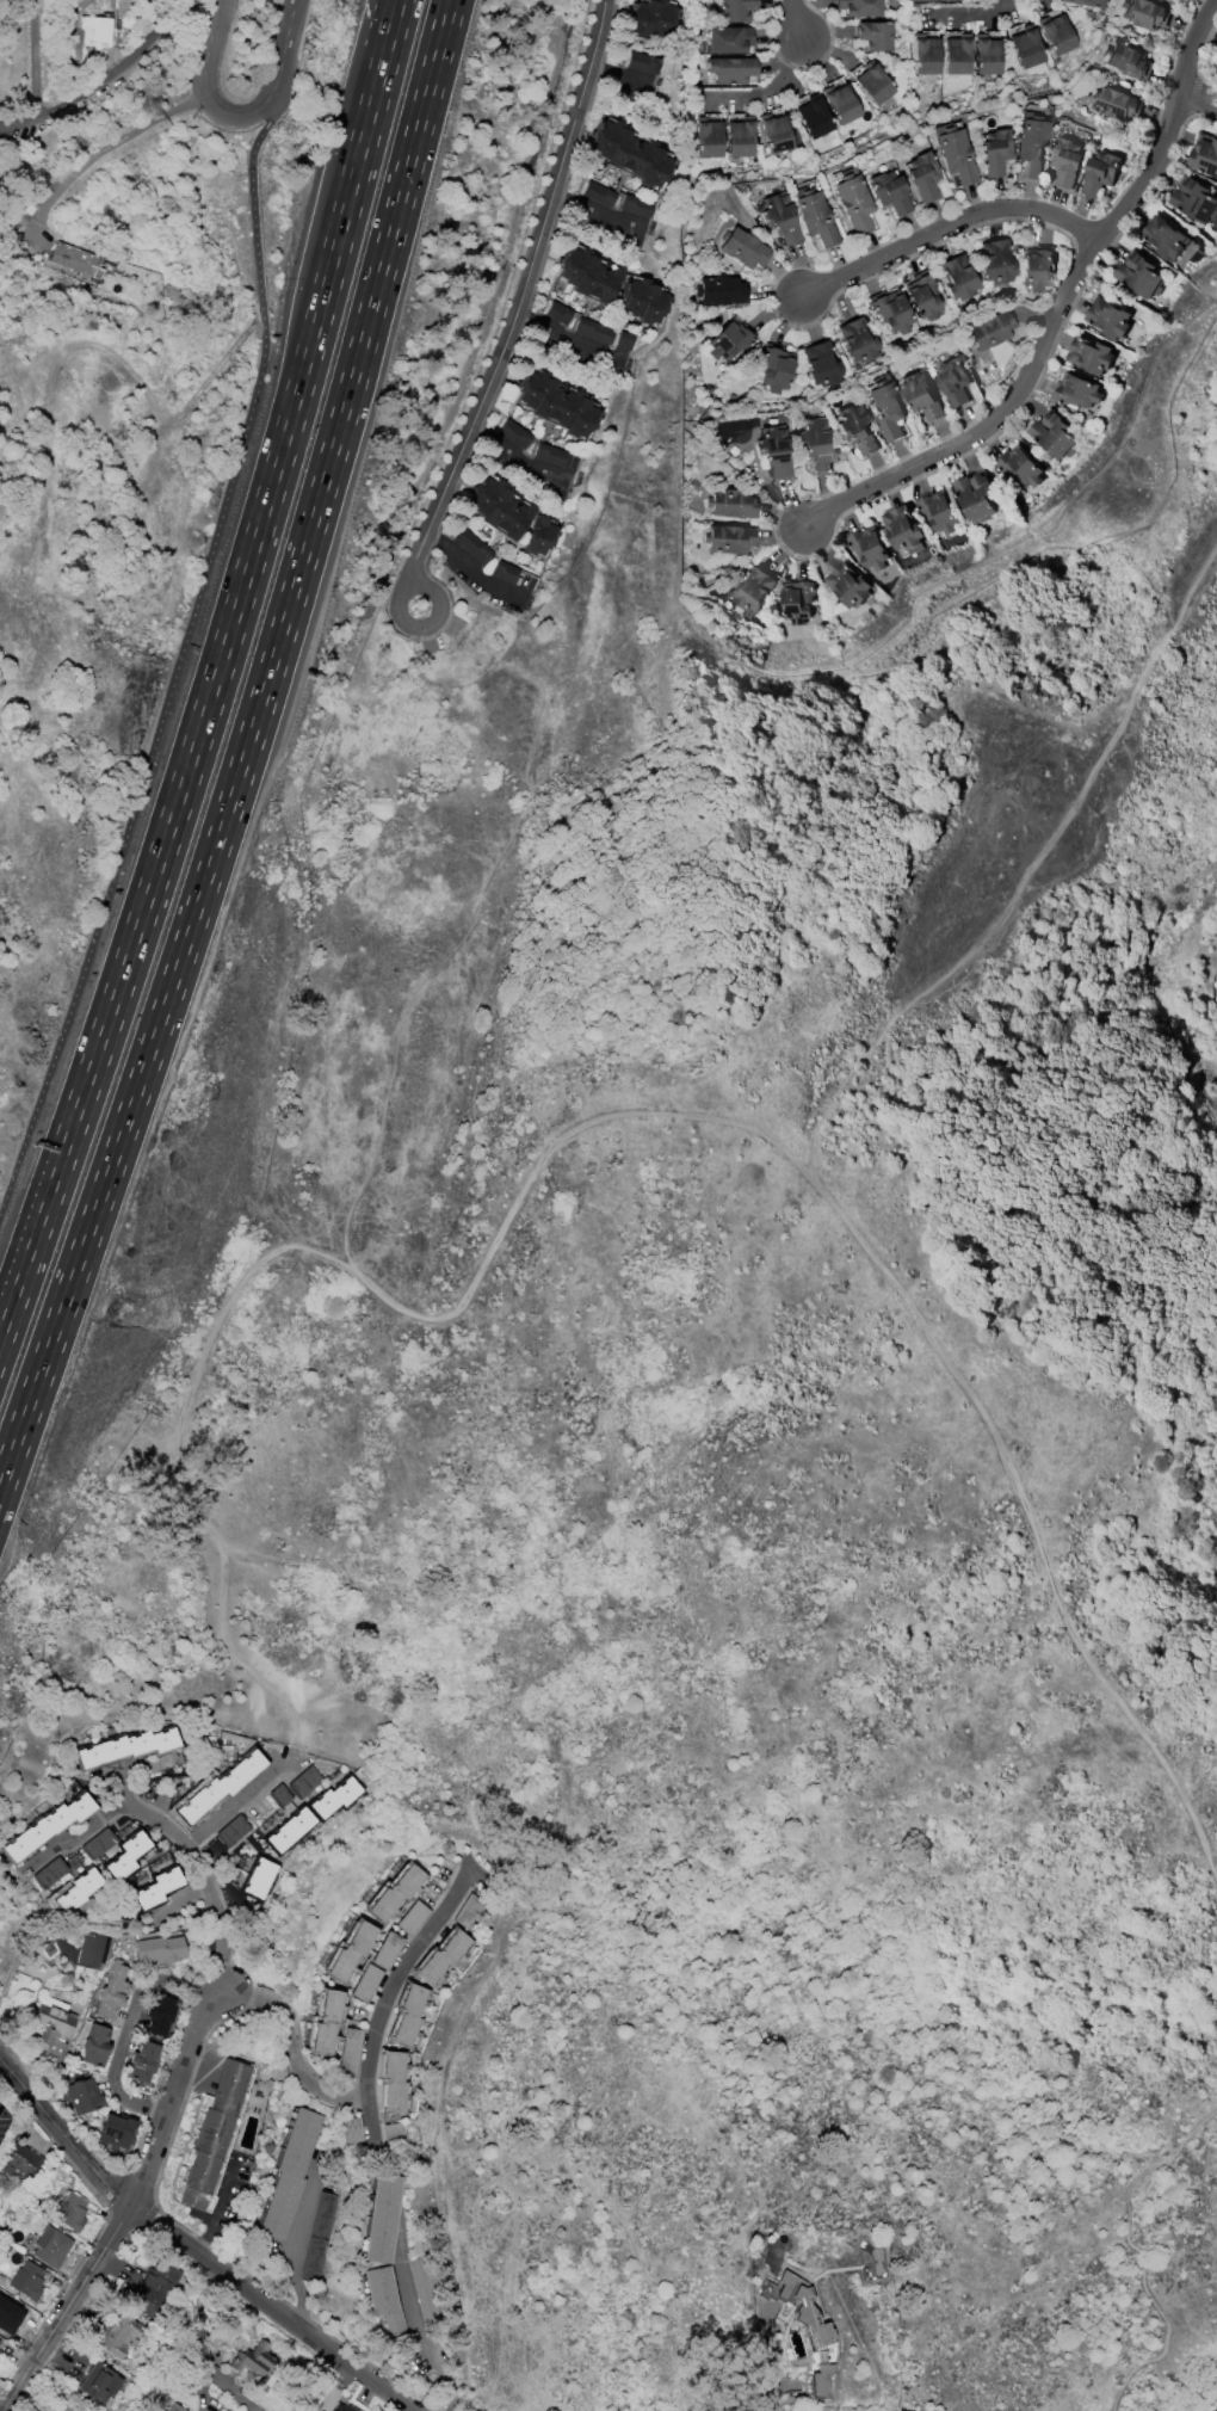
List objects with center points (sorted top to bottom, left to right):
building: (933, 0)
building: (1085, 2)
road: (401, 5)
road: (402, 5)
building: (859, 7)
building: (734, 10)
building: (1144, 12)
building: (650, 18)
road: (796, 18)
building: (95, 30)
building: (1055, 35)
building: (872, 36)
building: (729, 39)
building: (1025, 47)
road: (283, 50)
building: (923, 55)
building: (956, 55)
building: (986, 55)
road: (36, 57)
building: (1128, 60)
building: (642, 63)
building: (730, 69)
road: (104, 76)
road: (204, 82)
building: (872, 84)
road: (1198, 87)
building: (1116, 101)
building: (840, 104)
road: (1196, 104)
building: (813, 117)
building: (774, 132)
building: (706, 137)
building: (739, 137)
building: (1030, 144)
road: (110, 152)
building: (993, 152)
building: (631, 154)
building: (953, 154)
building: (1204, 154)
building: (1067, 161)
building: (1101, 172)
building: (922, 177)
building: (890, 192)
building: (598, 195)
building: (1193, 198)
building: (854, 203)
building: (636, 205)
road: (591, 211)
building: (780, 217)
building: (816, 217)
road: (949, 224)
building: (1165, 238)
building: (742, 248)
building: (76, 261)
building: (995, 261)
building: (1036, 267)
building: (1139, 275)
building: (588, 276)
building: (957, 277)
building: (719, 290)
building: (922, 295)
road: (519, 297)
building: (643, 301)
road: (1060, 308)
building: (891, 312)
building: (557, 313)
building: (1108, 317)
building: (593, 329)
building: (989, 331)
road: (568, 339)
building: (729, 339)
building: (858, 340)
building: (624, 341)
building: (1091, 354)
building: (821, 364)
building: (776, 370)
building: (953, 380)
building: (1076, 390)
building: (920, 394)
building: (556, 403)
building: (885, 406)
building: (854, 428)
building: (514, 434)
building: (1054, 434)
building: (814, 443)
building: (773, 450)
road: (507, 455)
building: (550, 455)
building: (1020, 467)
building: (976, 494)
building: (730, 504)
building: (499, 508)
building: (939, 512)
building: (903, 528)
building: (538, 536)
building: (728, 538)
building: (472, 547)
building: (869, 547)
building: (504, 572)
building: (848, 584)
building: (754, 588)
building: (798, 598)
road: (437, 616)
road: (179, 662)
road: (217, 684)
road: (243, 744)
road: (1025, 872)
road: (464, 936)
road: (883, 1266)
road: (184, 1460)
building: (125, 1746)
road: (137, 1769)
building: (303, 1782)
building: (218, 1787)
road: (125, 1790)
building: (278, 1795)
building: (332, 1798)
road: (240, 1805)
building: (45, 1826)
building: (288, 1830)
building: (231, 1831)
road: (79, 1835)
building: (97, 1844)
building: (125, 1855)
building: (49, 1873)
building: (257, 1877)
building: (156, 1887)
building: (76, 1891)
building: (394, 1893)
building: (469, 1911)
building: (412, 1918)
building: (91, 1949)
building: (159, 1949)
building: (387, 1950)
building: (350, 1951)
building: (441, 1956)
building: (365, 1983)
building: (112, 1992)
road: (218, 1998)
road: (391, 1999)
building: (156, 2014)
building: (407, 2015)
building: (325, 2021)
building: (52, 2025)
road: (132, 2030)
building: (94, 2046)
road: (294, 2048)
building: (348, 2052)
building: (141, 2062)
building: (393, 2080)
building: (81, 2096)
building: (113, 2131)
building: (351, 2131)
building: (393, 2132)
building: (212, 2134)
building: (20, 2164)
building: (289, 2173)
road: (222, 2208)
building: (69, 2213)
building: (382, 2219)
building: (317, 2238)
road: (301, 2244)
building: (50, 2246)
road: (1139, 2247)
road: (191, 2251)
building: (26, 2281)
building: (153, 2288)
building: (424, 2292)
building: (382, 2300)
building: (799, 2308)
road: (68, 2311)
building: (10, 2317)
building: (119, 2336)
building: (0, 2342)
road: (427, 2349)
building: (0, 2354)
building: (253, 2361)
road: (765, 2361)
building: (820, 2380)
building: (99, 2385)
building: (172, 2407)
building: (344, 2407)

